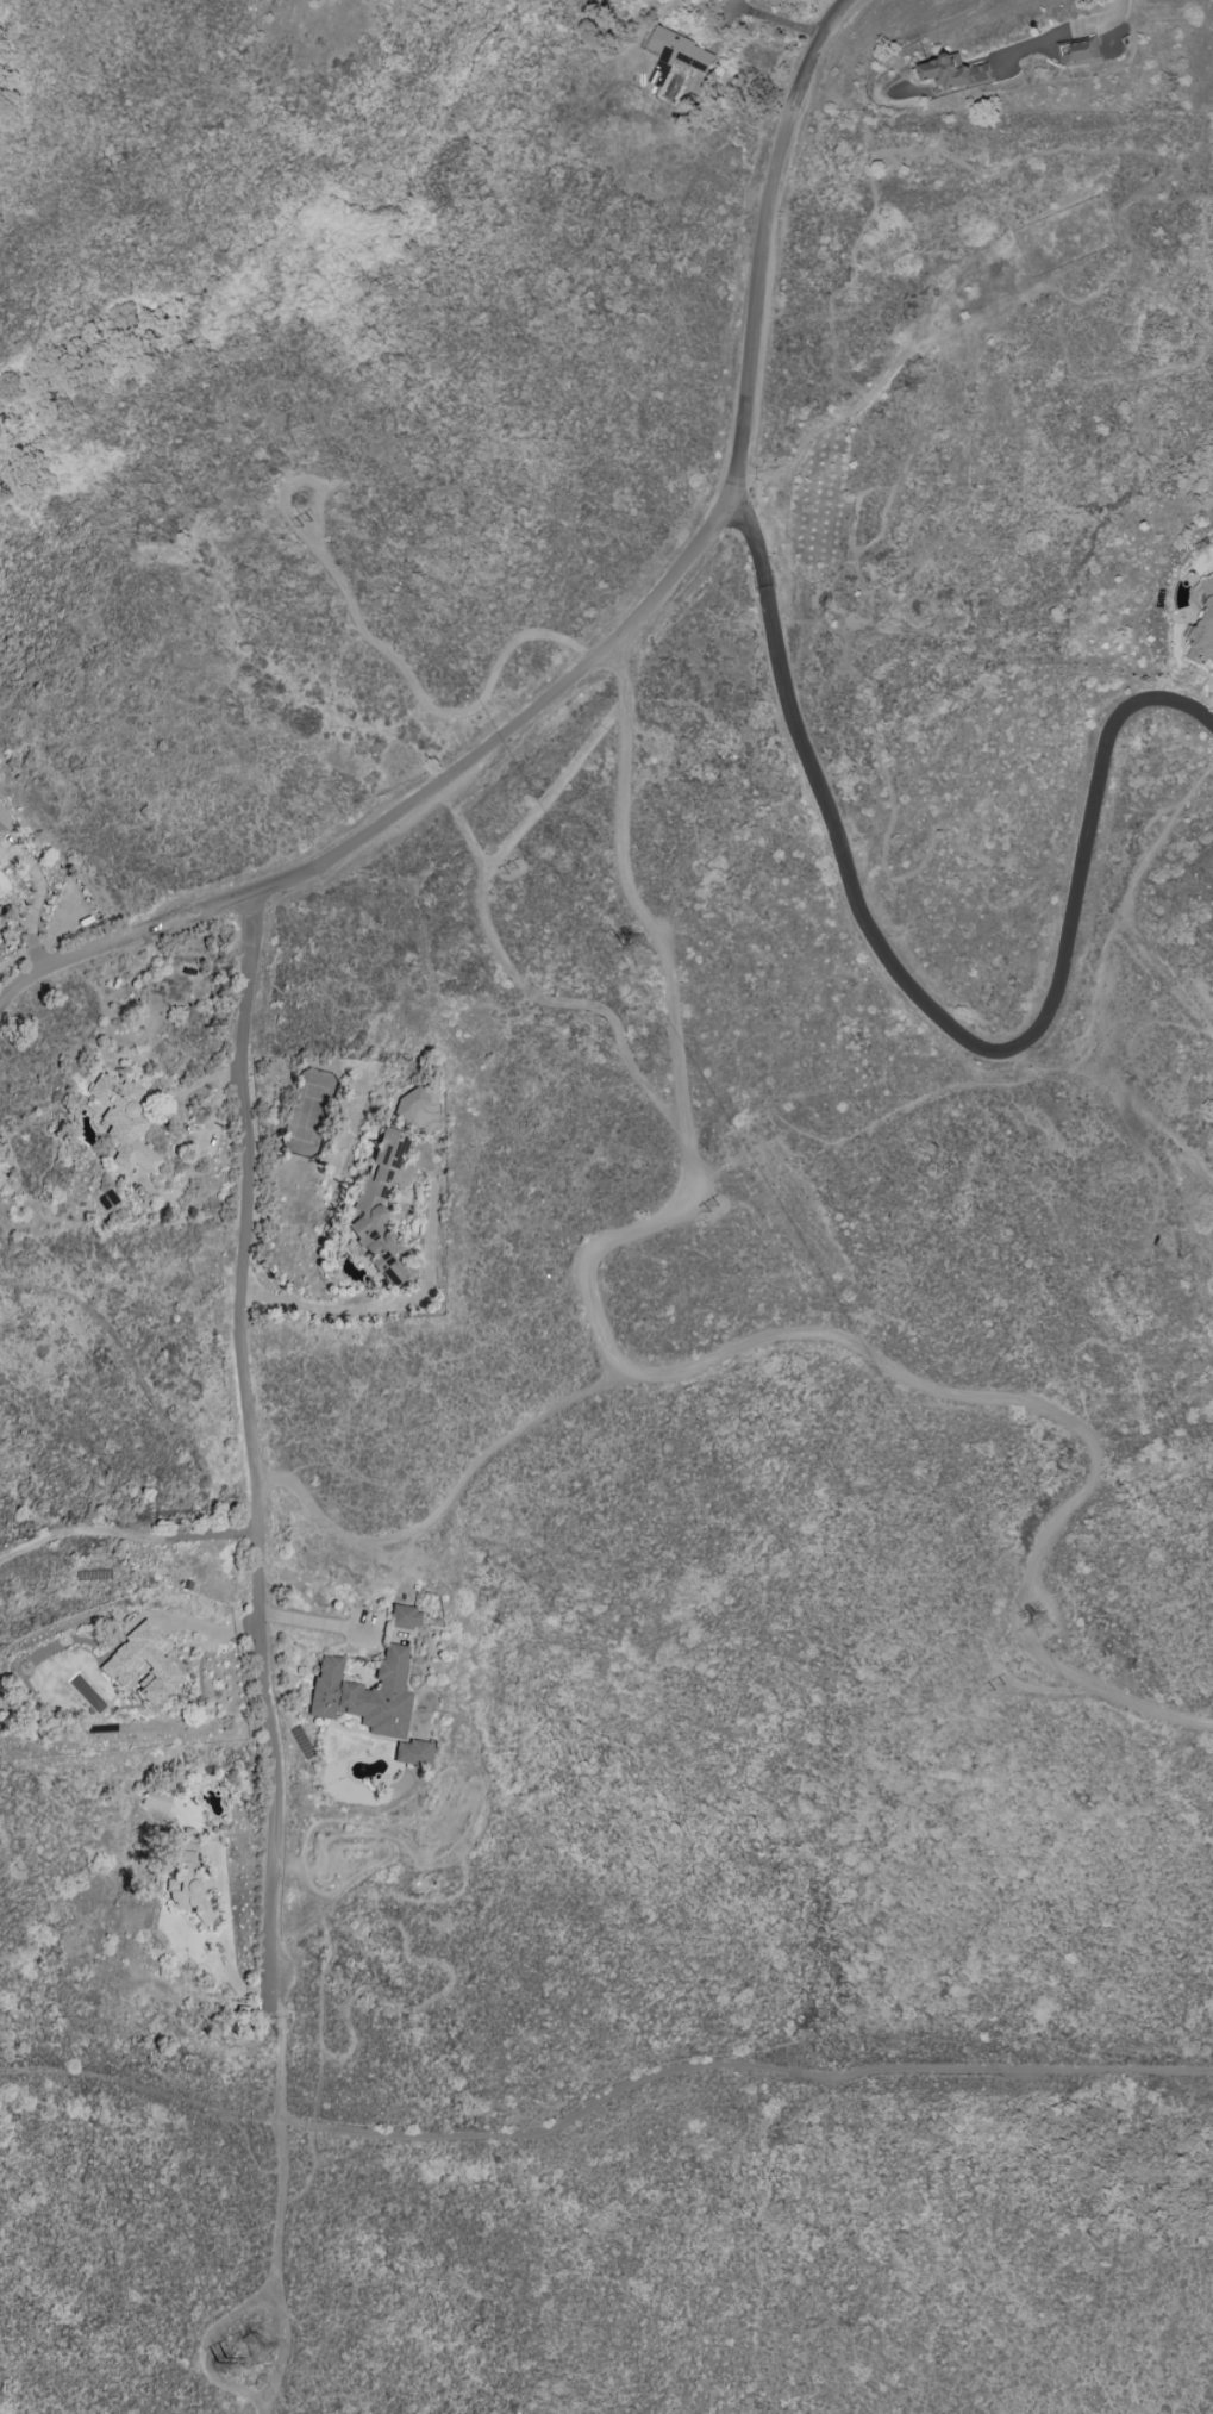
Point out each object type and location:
road: (773, 18)
road: (1062, 33)
building: (681, 51)
building: (1074, 51)
building: (951, 73)
road: (1096, 149)
road: (775, 230)
road: (1075, 300)
road: (830, 307)
road: (1112, 376)
power tower: (305, 518)
road: (850, 626)
building: (1203, 629)
road: (427, 705)
road: (554, 791)
road: (419, 807)
building: (2, 831)
power tower: (513, 872)
road: (32, 921)
road: (1113, 930)
power tower: (644, 947)
road: (551, 999)
road: (924, 1000)
road: (181, 1099)
building: (407, 1105)
road: (1148, 1115)
road: (882, 1121)
building: (124, 1123)
road: (200, 1153)
building: (377, 1208)
power tower: (713, 1209)
road: (392, 1309)
road: (689, 1368)
road: (450, 1502)
road: (263, 1510)
road: (132, 1533)
building: (404, 1618)
road: (317, 1624)
power tower: (1043, 1628)
building: (119, 1666)
power tower: (998, 1684)
building: (365, 1695)
building: (412, 1754)
building: (156, 1802)
road: (743, 2066)
road: (145, 2091)
road: (283, 2269)
power tower: (251, 2347)
power tower: (217, 2354)

